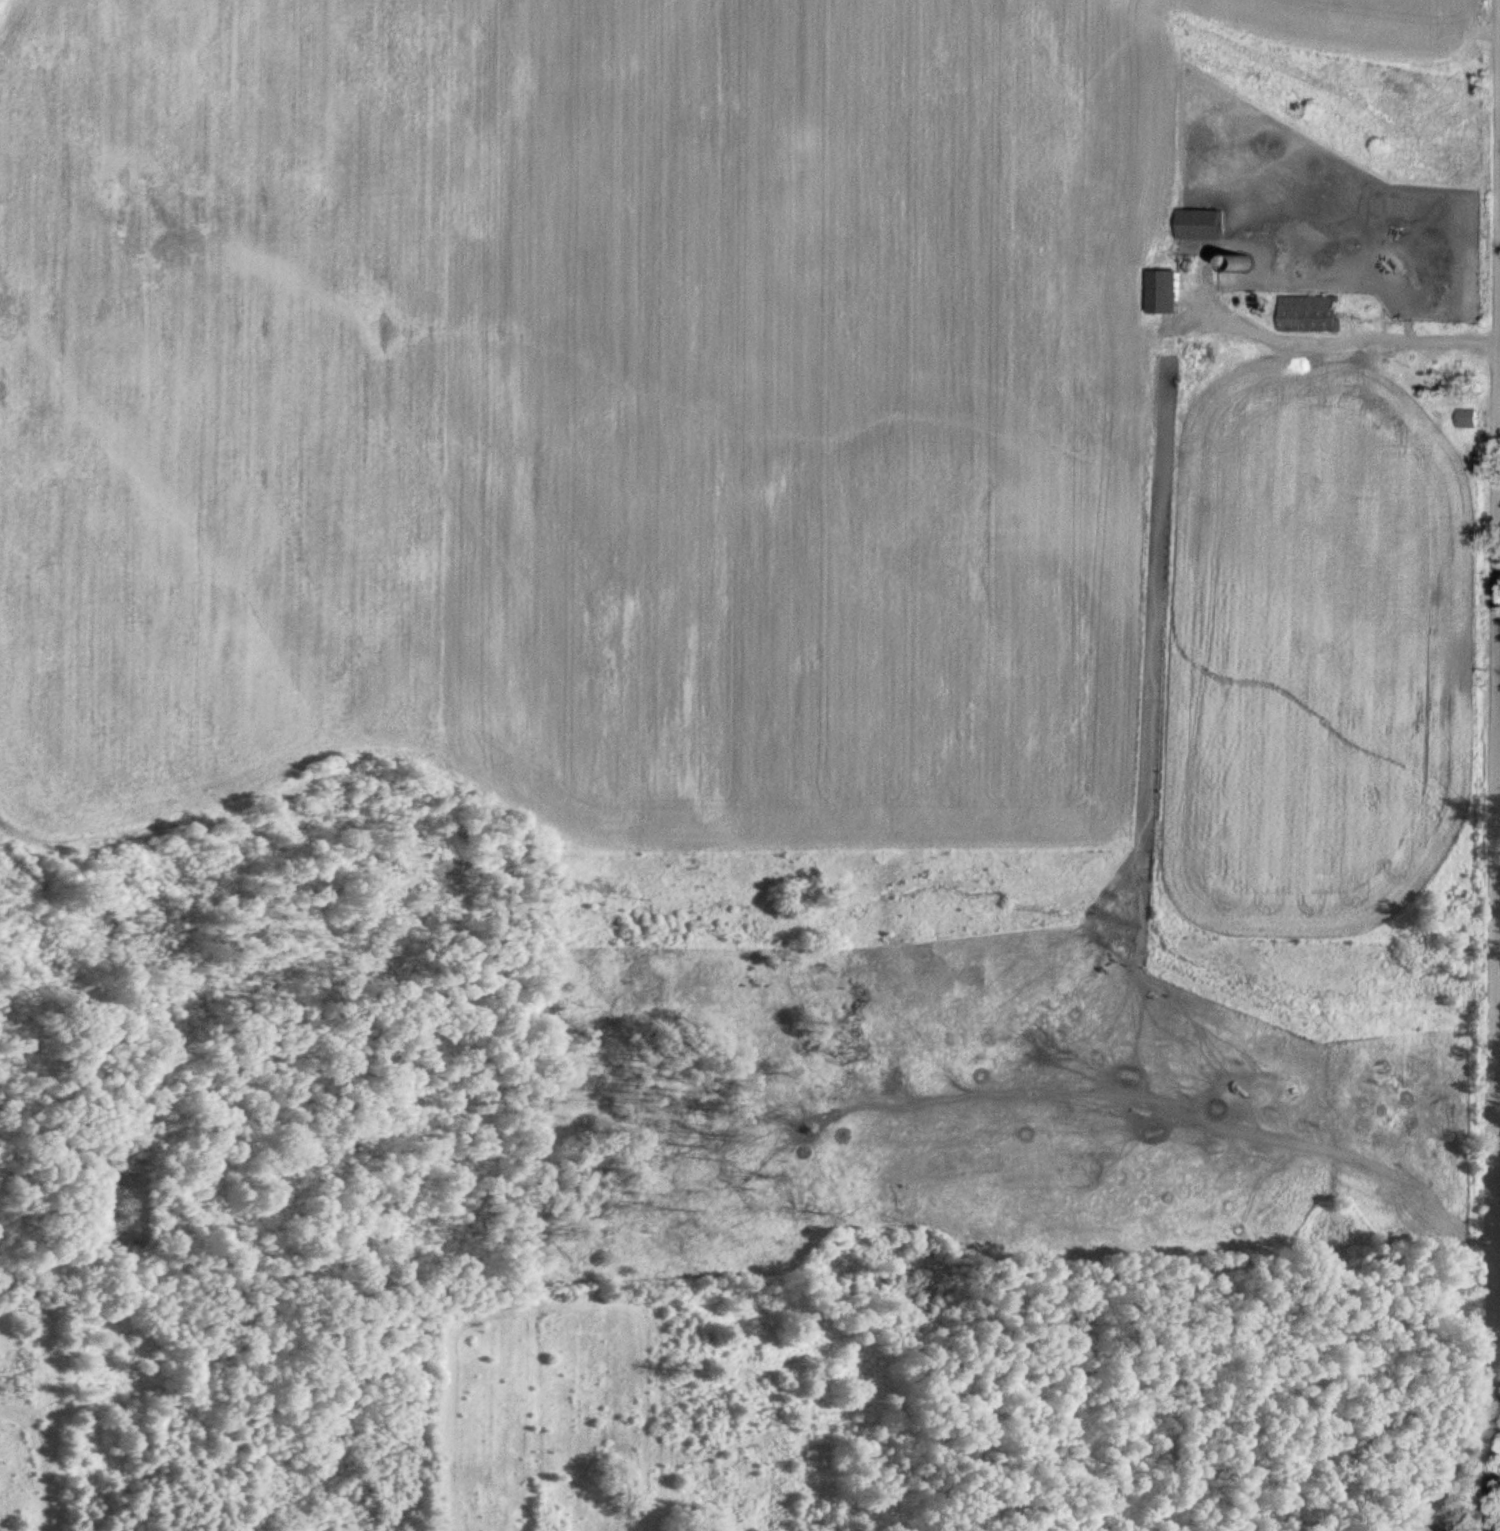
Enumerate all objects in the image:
building: (1205, 222)
building: (1247, 261)
building: (1170, 289)
building: (1314, 312)
building: (1471, 416)
road: (1498, 1264)

